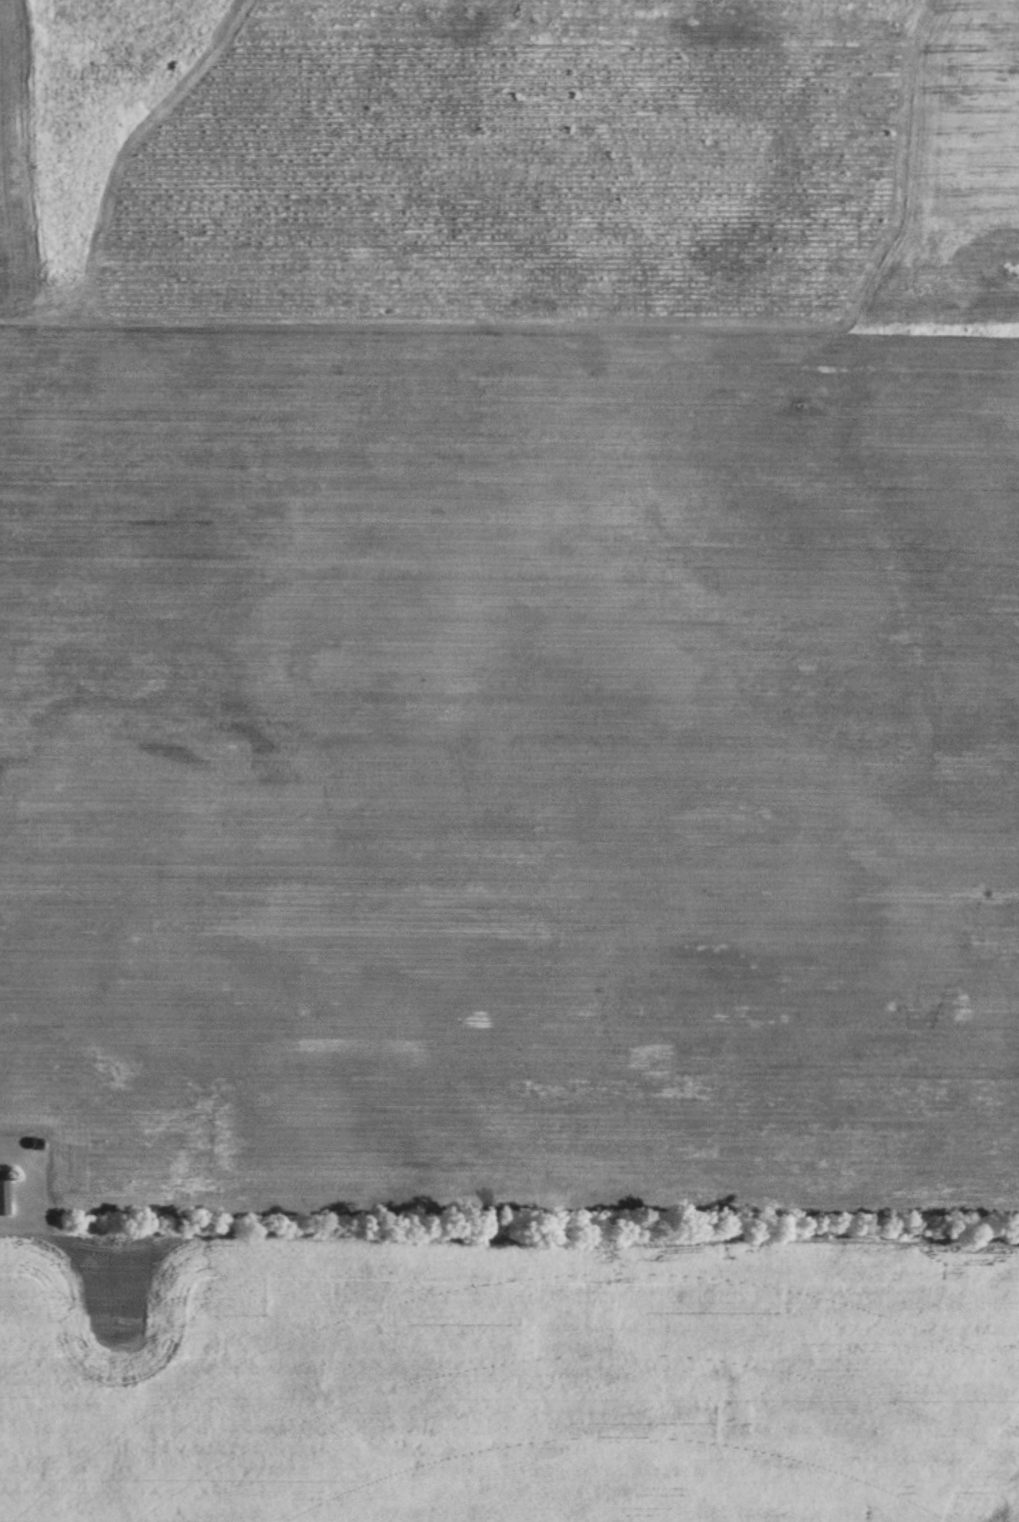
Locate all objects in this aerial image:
building: (4, 1196)

